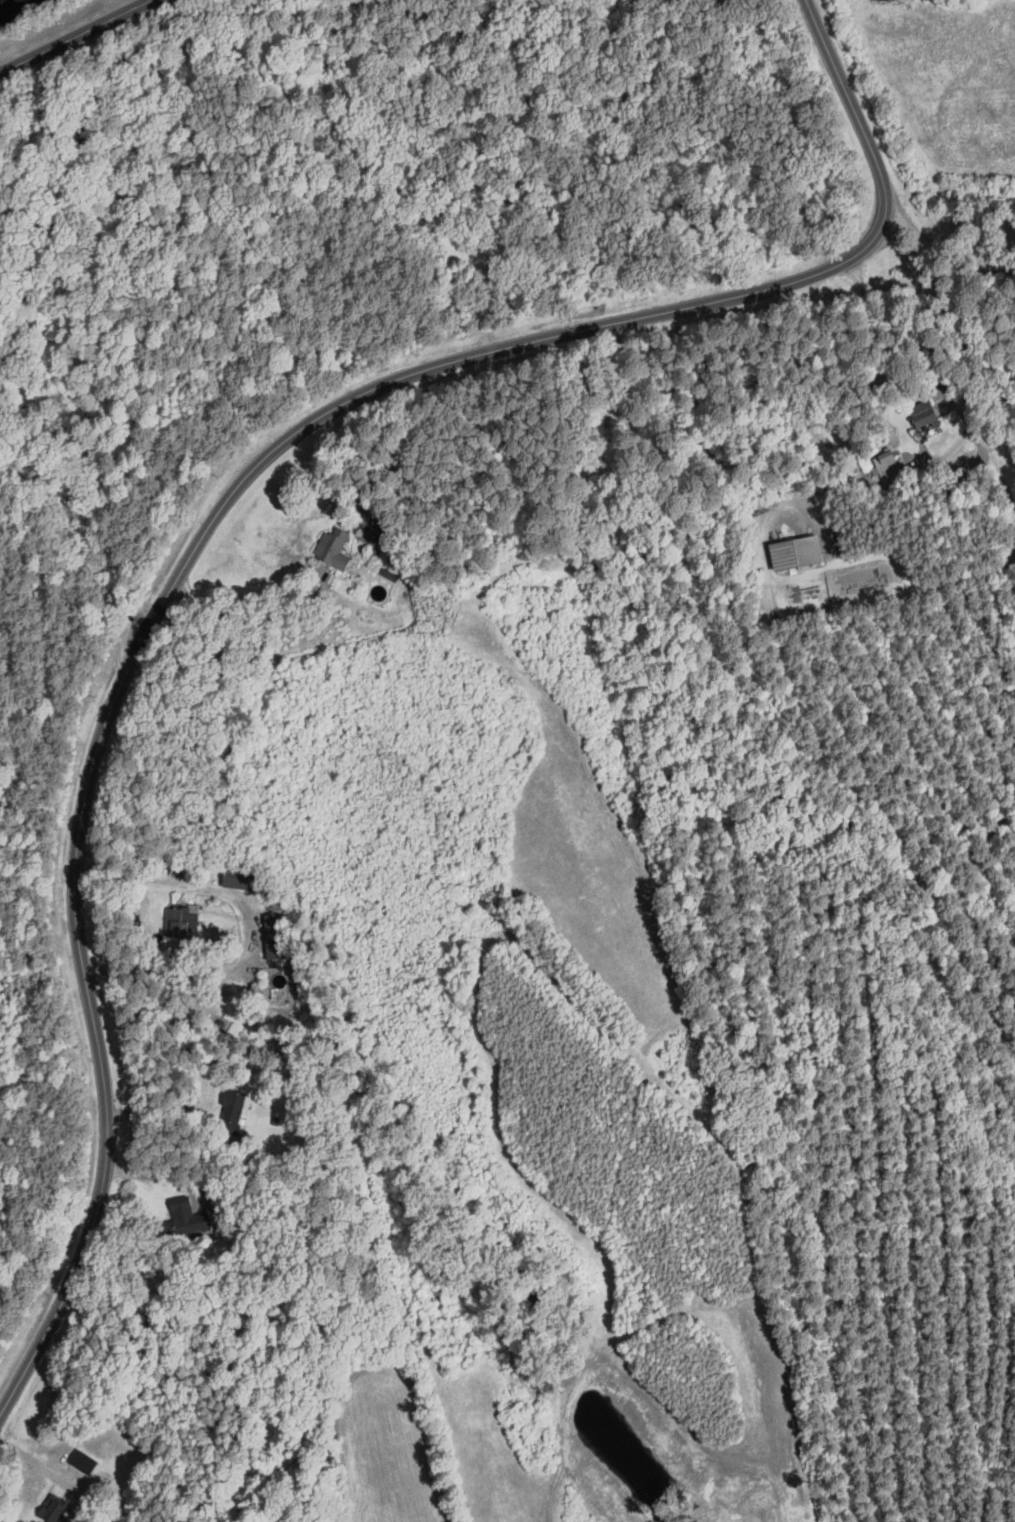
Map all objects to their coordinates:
road: (75, 36)
road: (945, 252)
road: (943, 368)
building: (927, 419)
road: (224, 504)
building: (360, 544)
building: (799, 551)
road: (245, 603)
road: (820, 611)
building: (241, 878)
building: (183, 920)
road: (254, 928)
building: (276, 936)
building: (279, 981)
building: (234, 1109)
road: (154, 1110)
road: (160, 1177)
building: (190, 1219)
building: (55, 1511)

